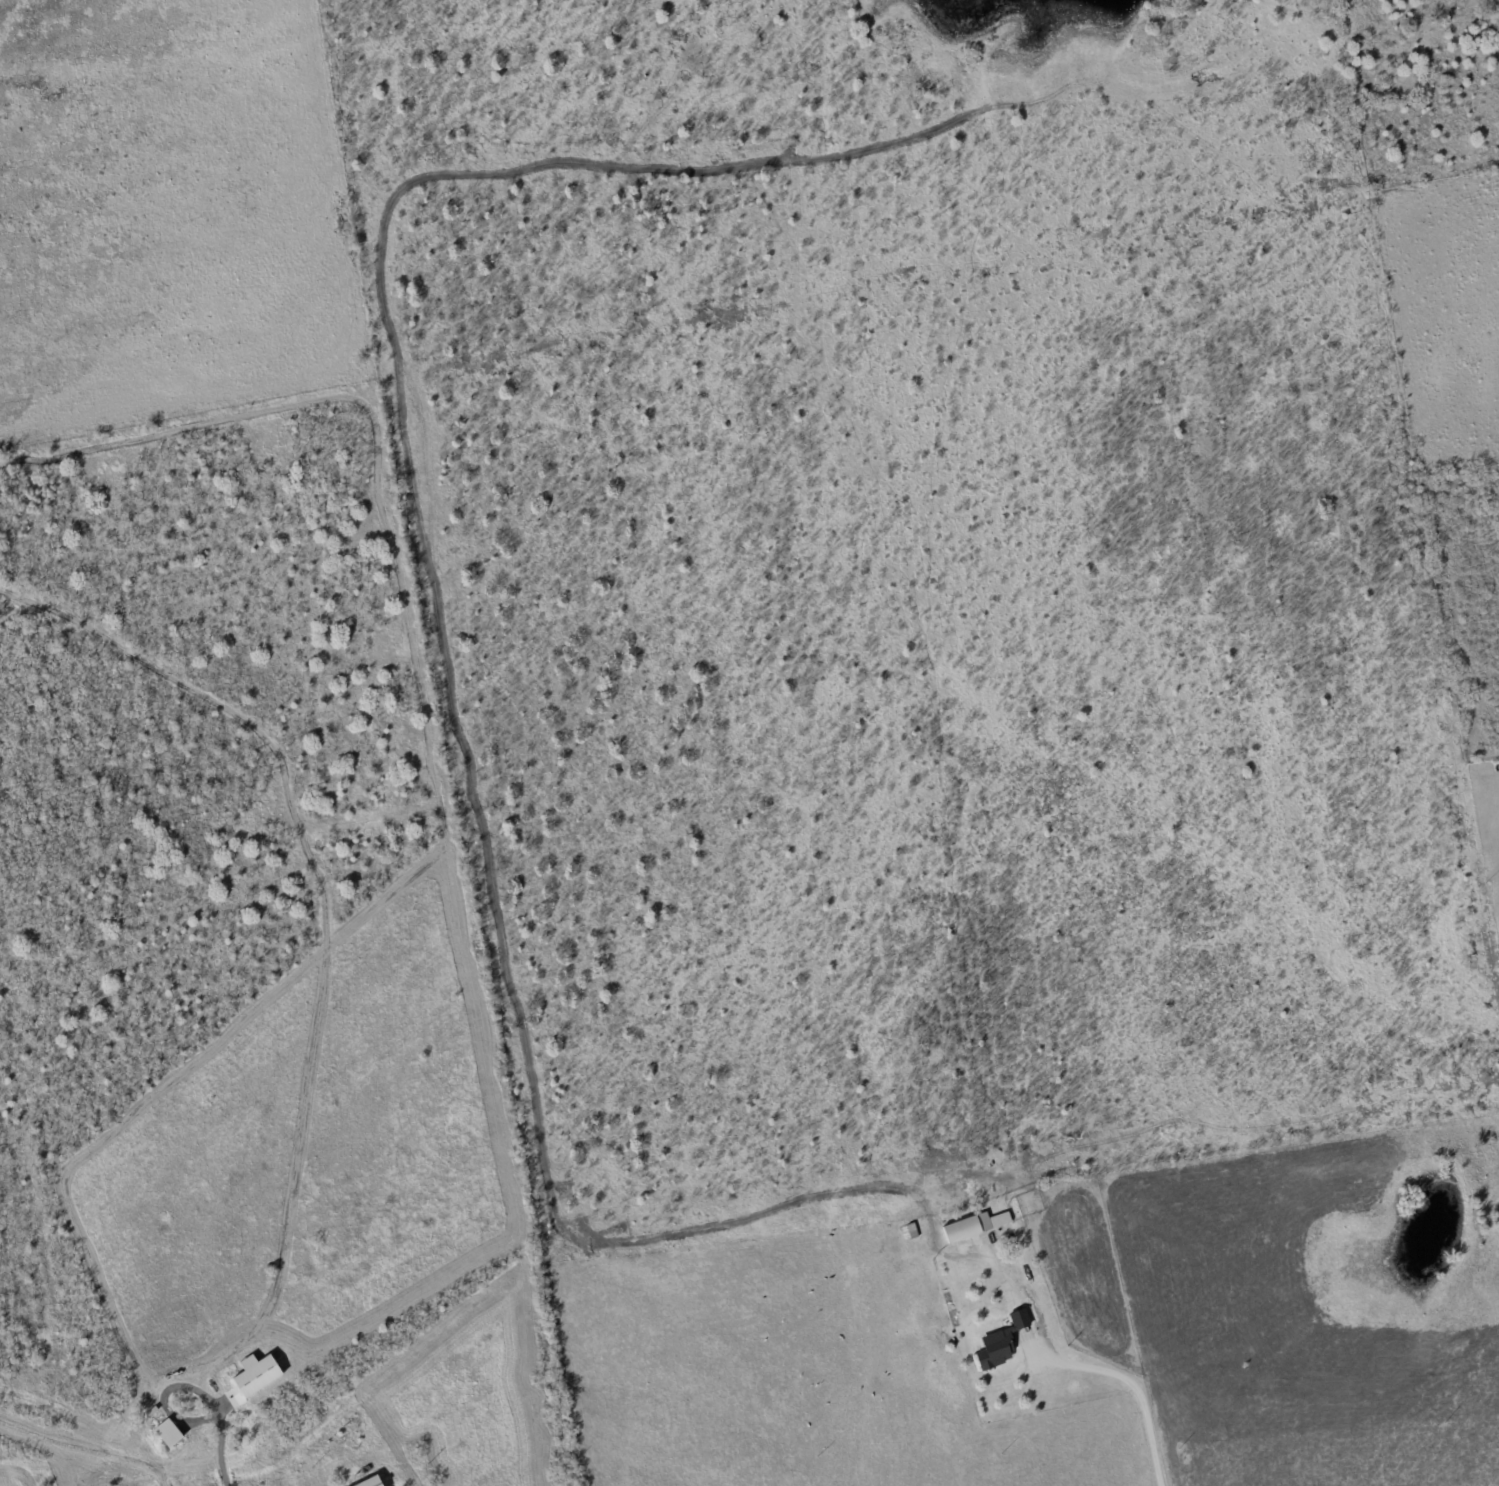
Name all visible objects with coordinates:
building: (971, 1226)
building: (997, 1342)
road: (1072, 1370)
building: (259, 1374)
building: (170, 1433)
building: (376, 1482)

